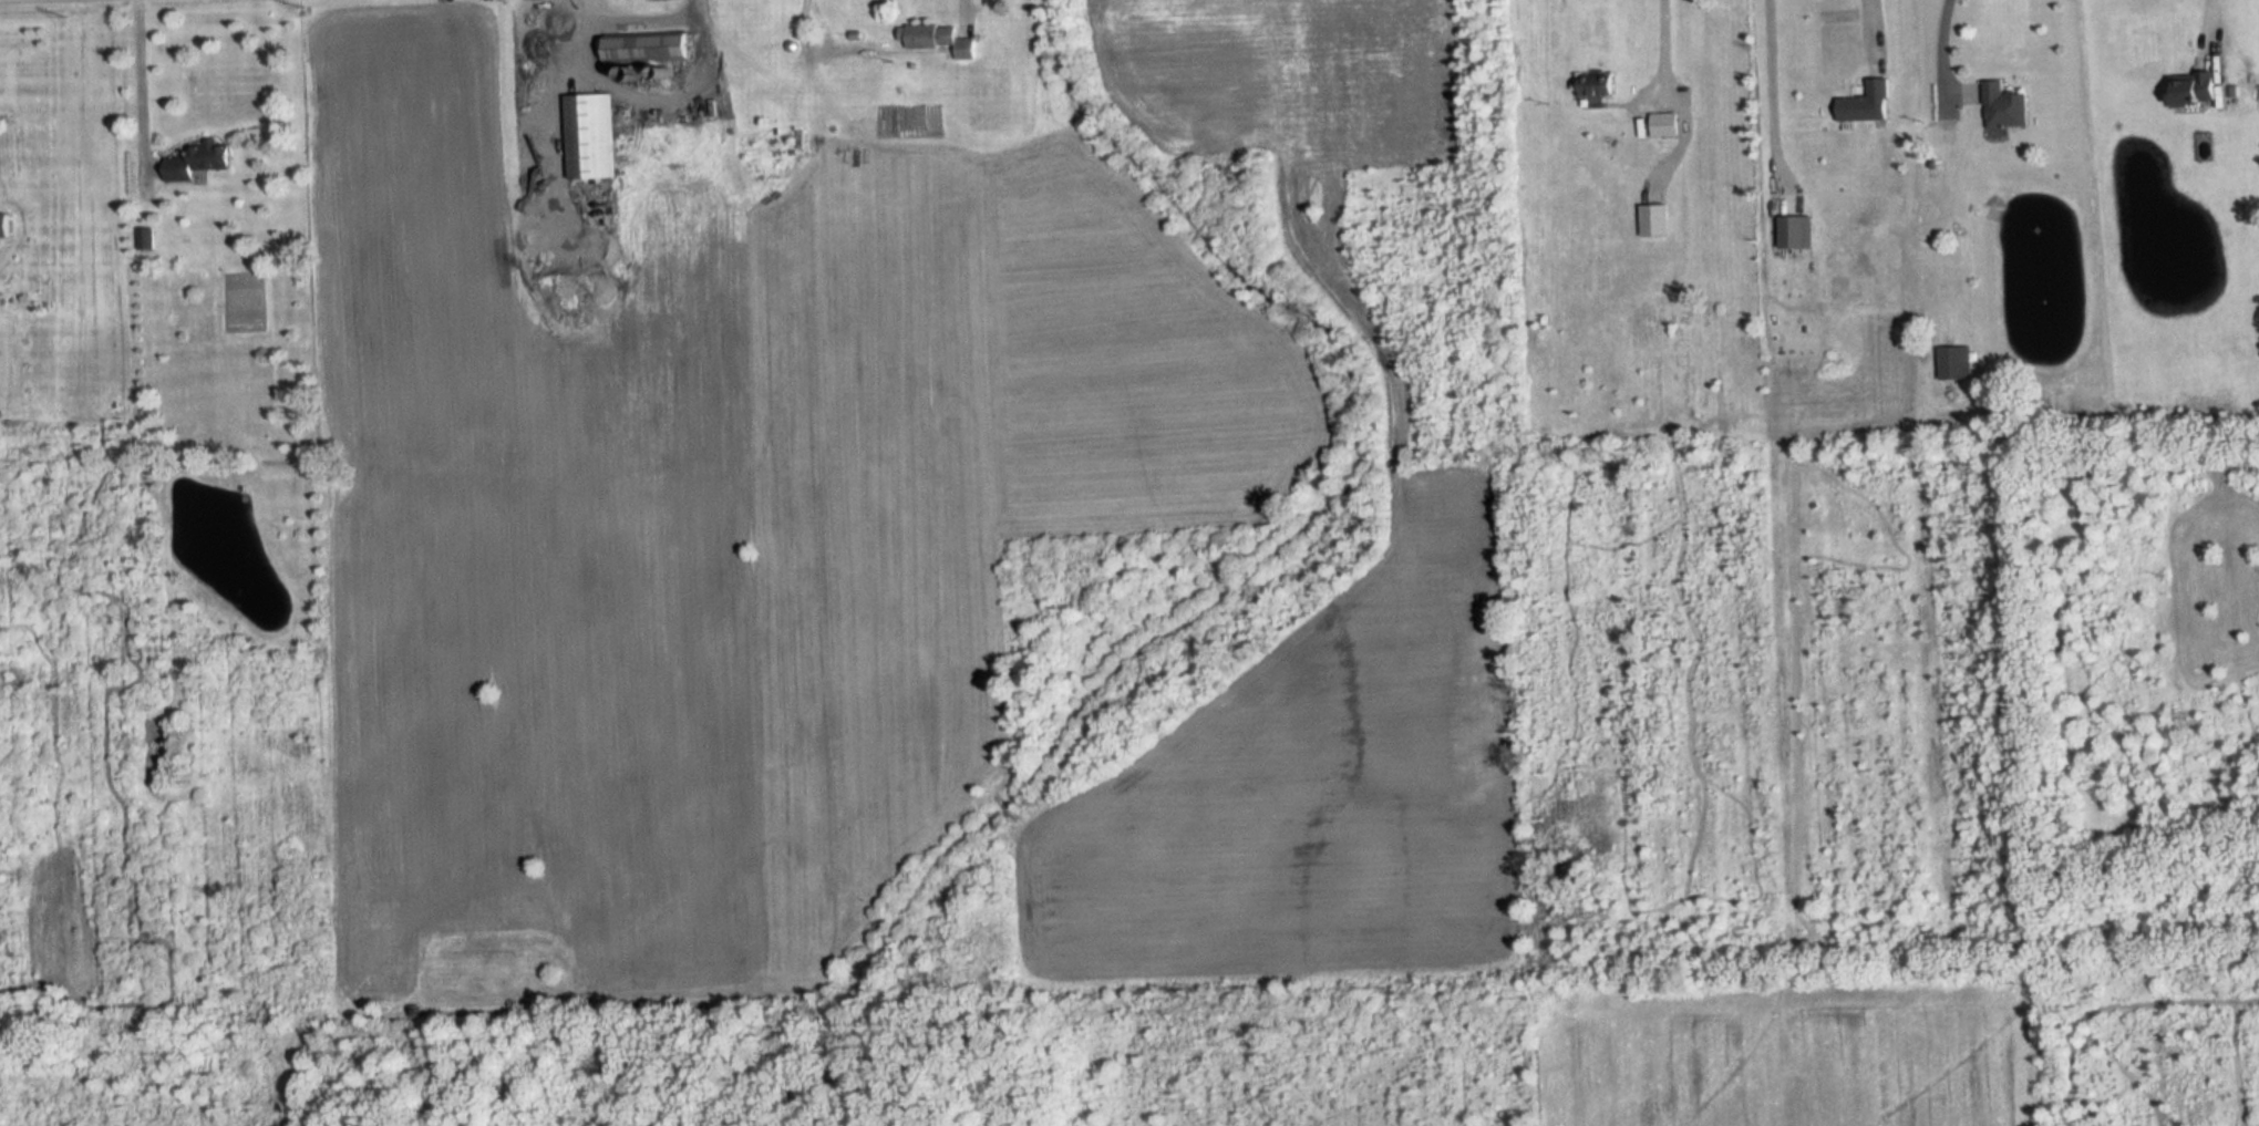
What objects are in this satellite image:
road: (639, 13)
road: (2209, 22)
road: (1870, 24)
building: (939, 40)
road: (1659, 47)
building: (647, 48)
road: (1941, 50)
building: (1596, 86)
building: (2194, 89)
road: (140, 91)
building: (1867, 104)
building: (2004, 106)
building: (1664, 125)
building: (590, 136)
building: (199, 162)
building: (1653, 219)
building: (4, 227)
building: (1953, 362)

